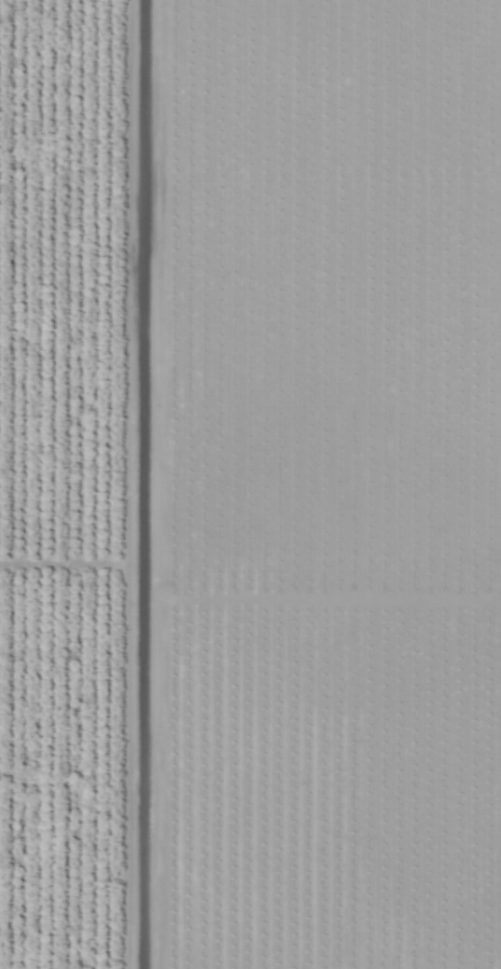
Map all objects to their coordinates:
crop: (66, 483)
road: (146, 484)

